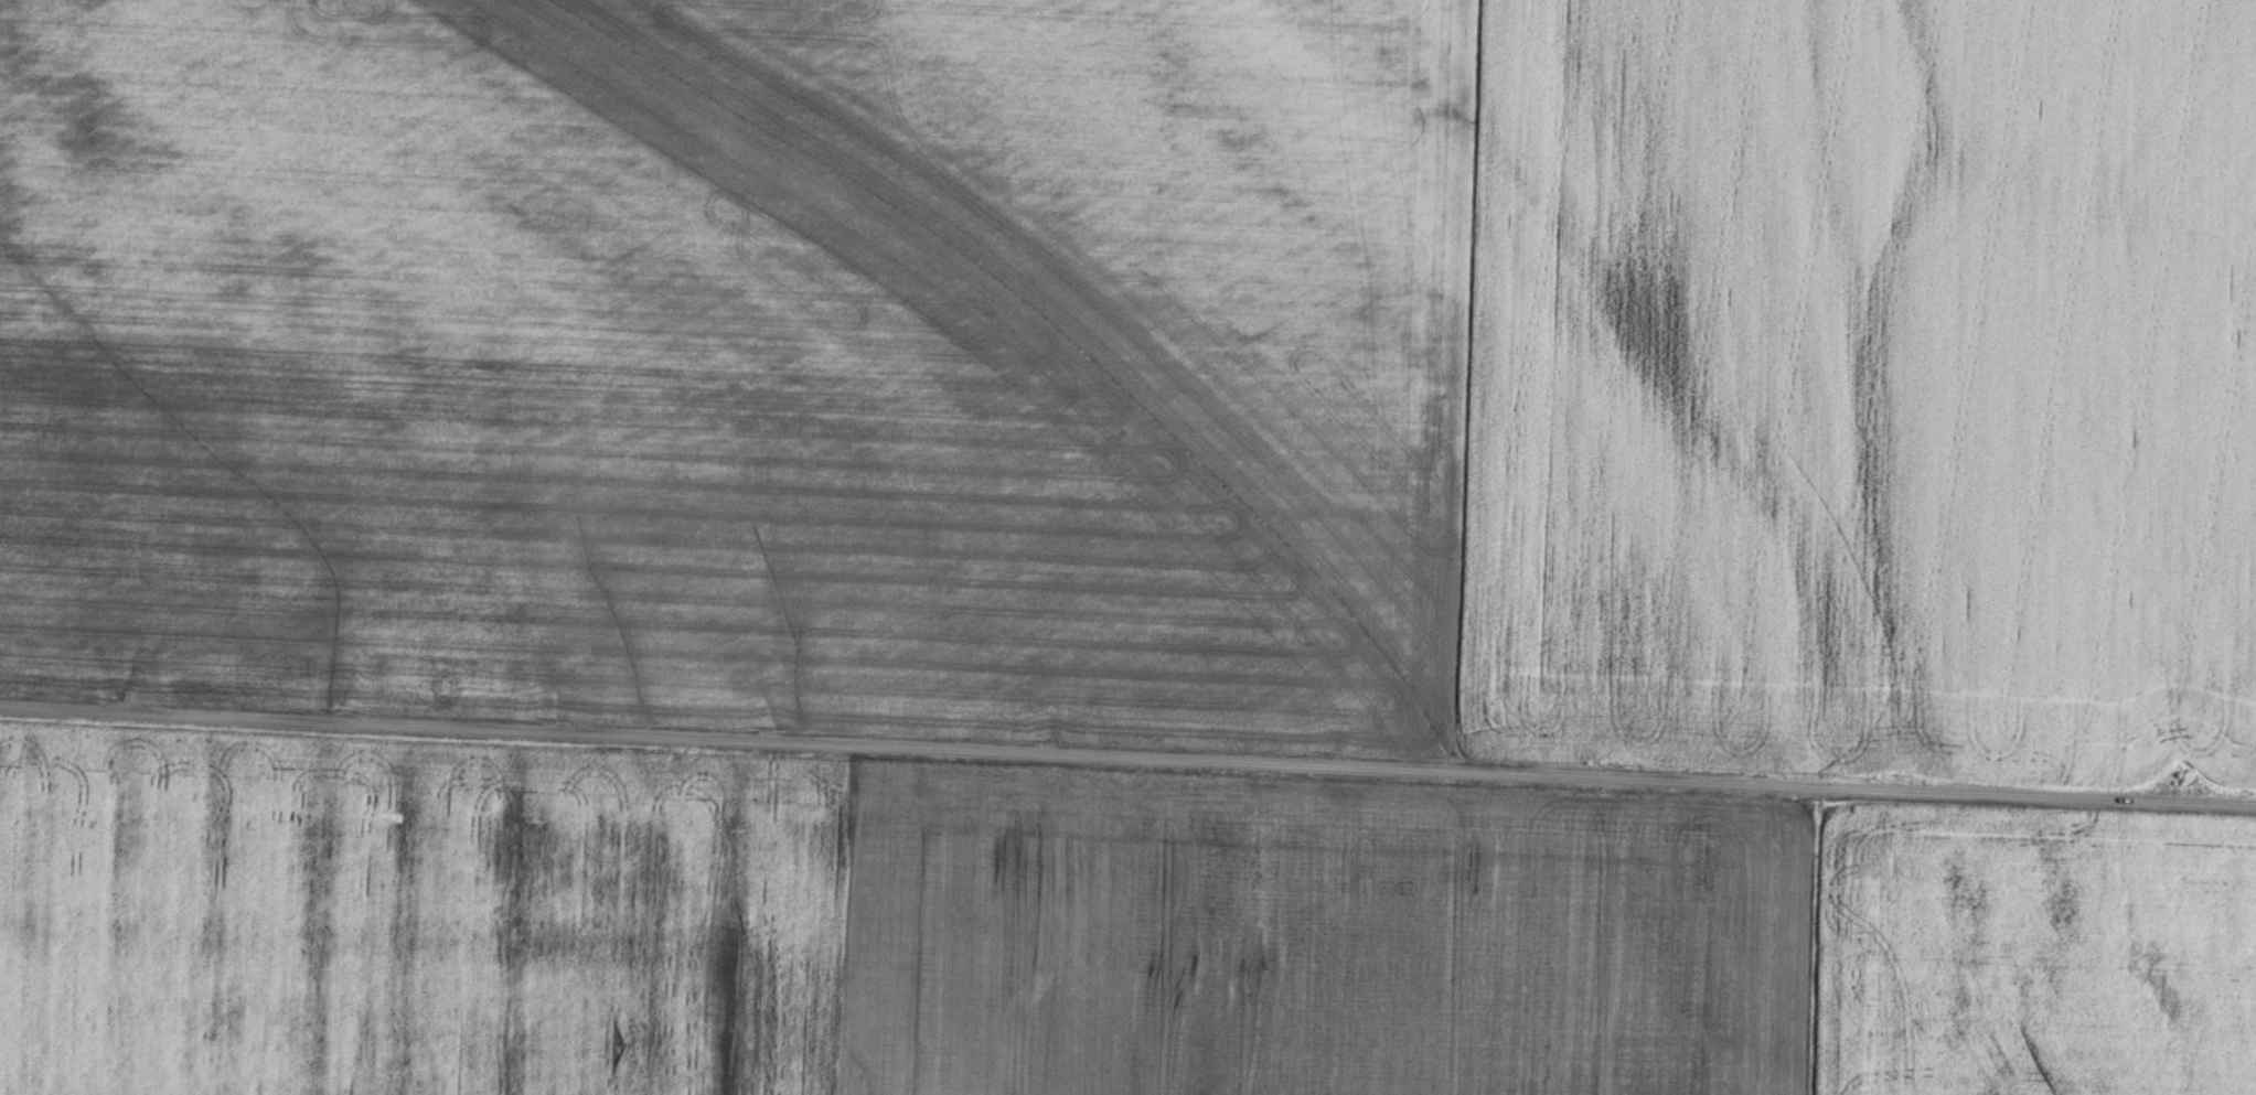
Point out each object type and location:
road: (1127, 753)
road: (2160, 911)

